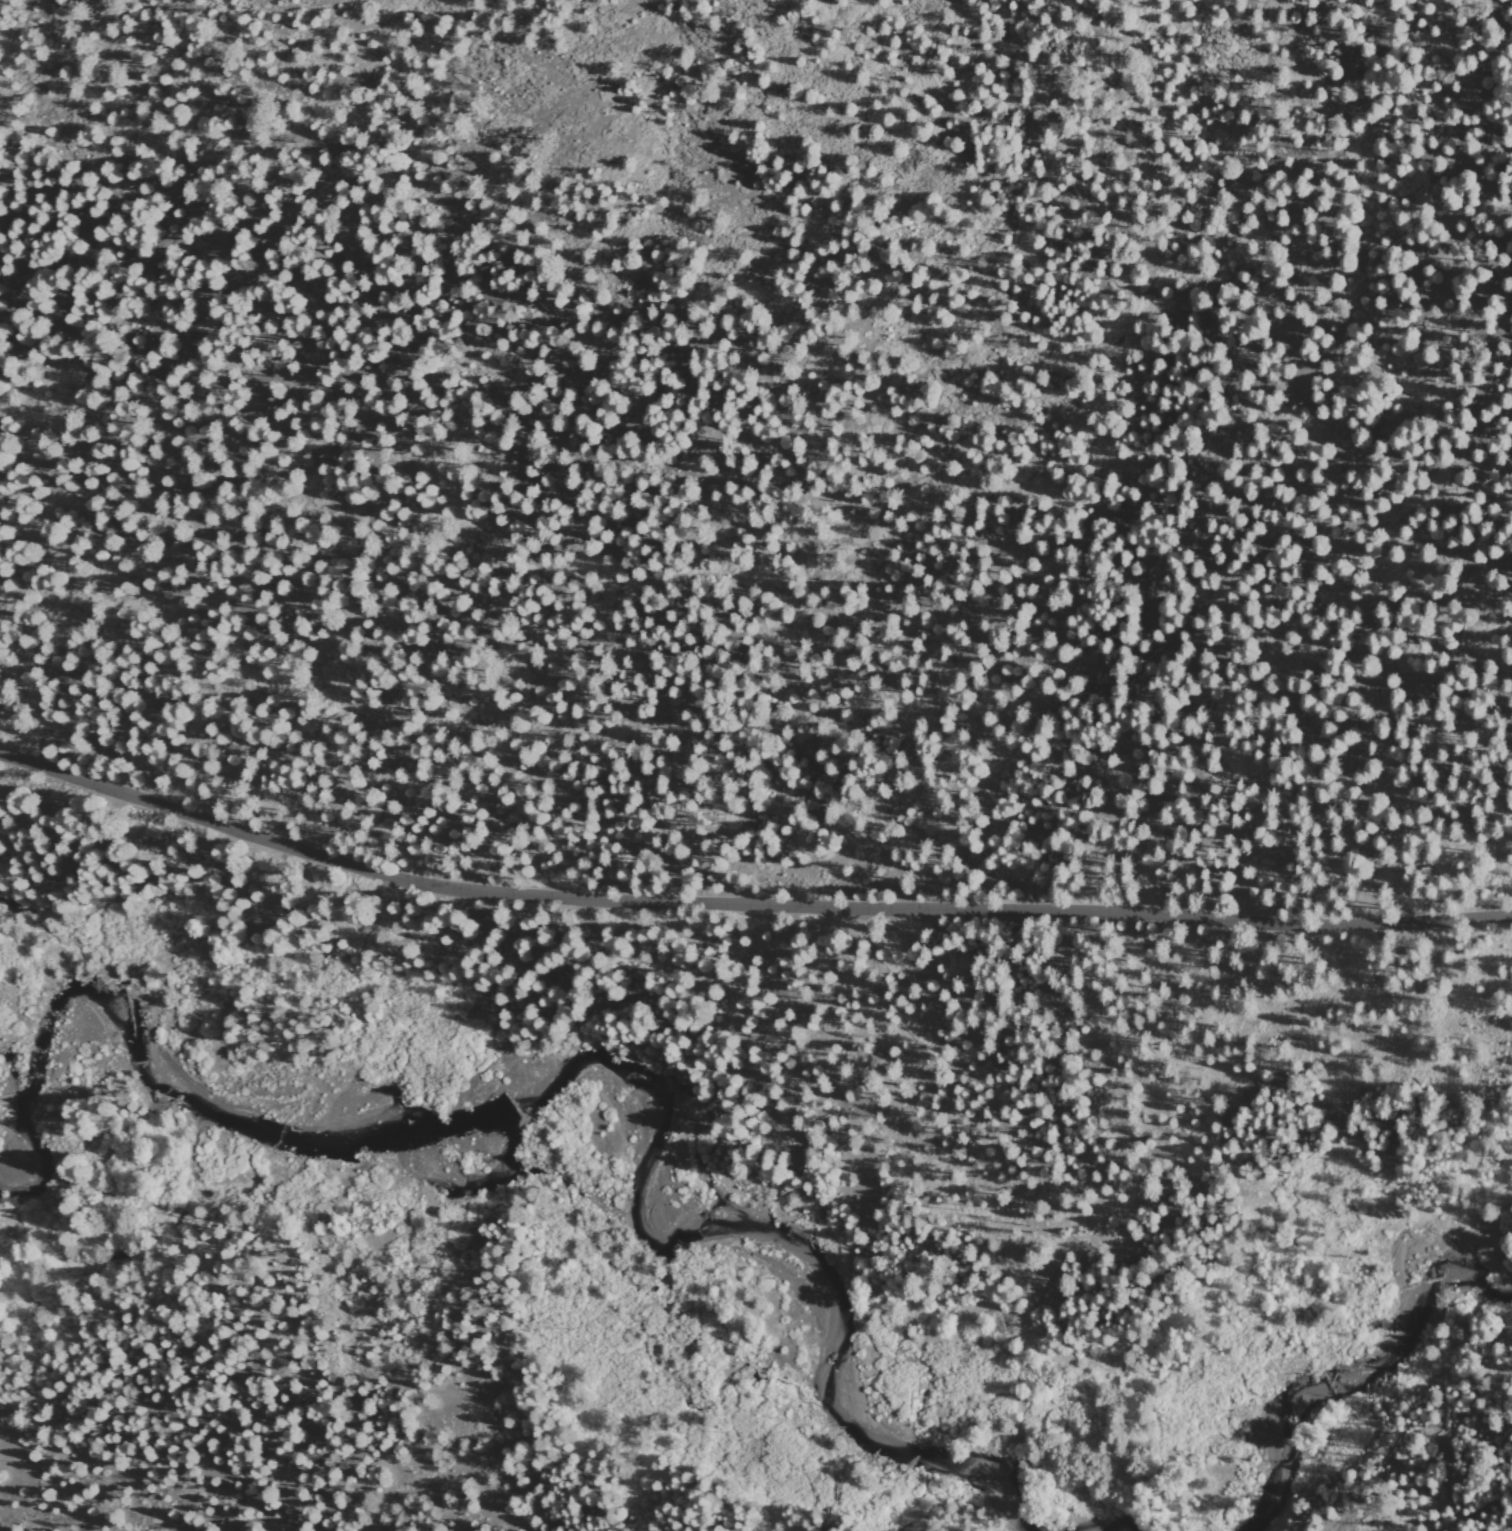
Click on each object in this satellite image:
road: (745, 902)
road: (275, 1479)

